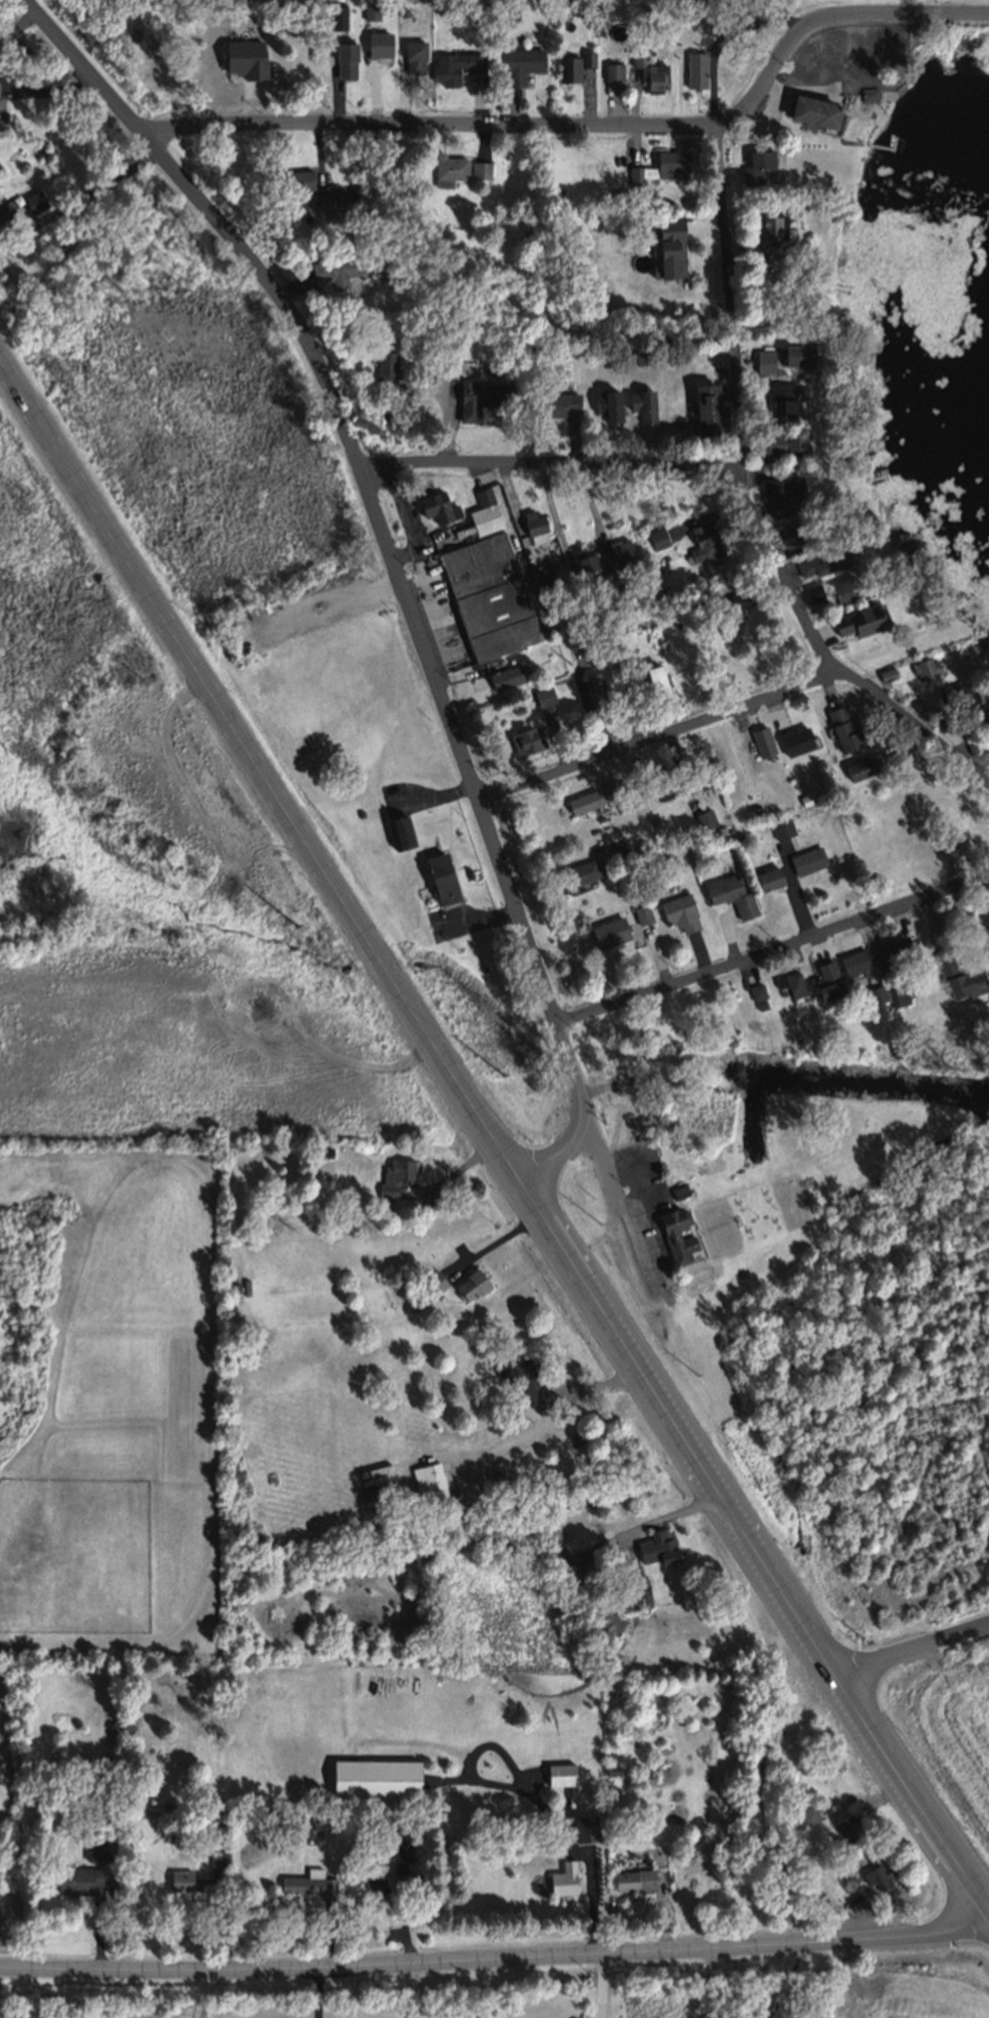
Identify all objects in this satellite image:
building: (514, 6)
building: (759, 7)
building: (371, 10)
building: (404, 10)
building: (737, 11)
building: (339, 18)
building: (378, 43)
building: (412, 56)
building: (586, 57)
building: (345, 58)
building: (247, 60)
building: (521, 63)
building: (454, 66)
building: (567, 67)
building: (693, 68)
building: (611, 70)
building: (648, 71)
building: (0, 82)
building: (868, 93)
building: (812, 110)
building: (2, 116)
road: (595, 125)
building: (755, 165)
building: (658, 166)
building: (447, 169)
building: (479, 169)
building: (296, 180)
road: (101, 184)
building: (355, 192)
building: (322, 194)
building: (34, 201)
building: (3, 209)
road: (725, 217)
building: (772, 226)
building: (758, 250)
building: (383, 252)
building: (666, 252)
building: (335, 270)
building: (798, 354)
building: (642, 357)
building: (763, 360)
building: (423, 373)
building: (385, 374)
building: (480, 397)
building: (609, 399)
building: (645, 400)
building: (780, 400)
building: (554, 402)
building: (706, 409)
building: (782, 443)
road: (550, 466)
building: (782, 492)
building: (435, 505)
building: (483, 512)
building: (532, 521)
building: (798, 532)
building: (657, 536)
building: (704, 541)
building: (620, 553)
building: (824, 559)
building: (583, 561)
building: (543, 574)
building: (662, 588)
building: (845, 588)
building: (812, 593)
building: (489, 596)
road: (408, 600)
building: (695, 600)
building: (733, 601)
road: (796, 605)
building: (592, 609)
building: (858, 620)
building: (674, 624)
building: (572, 637)
building: (605, 647)
building: (664, 647)
building: (924, 667)
building: (885, 673)
building: (505, 676)
building: (655, 680)
building: (591, 690)
building: (959, 692)
building: (625, 694)
building: (542, 695)
building: (935, 718)
building: (984, 719)
building: (843, 729)
road: (656, 737)
building: (525, 740)
building: (794, 740)
building: (761, 741)
building: (970, 745)
building: (830, 757)
building: (860, 767)
building: (828, 770)
building: (699, 774)
building: (663, 785)
building: (631, 793)
building: (805, 798)
building: (588, 799)
building: (756, 813)
building: (707, 825)
building: (778, 830)
building: (399, 831)
building: (615, 847)
building: (679, 860)
building: (806, 860)
building: (580, 871)
building: (467, 872)
building: (767, 878)
building: (440, 879)
building: (729, 894)
building: (679, 912)
building: (641, 914)
power tower: (299, 925)
building: (984, 926)
building: (609, 931)
road: (776, 946)
building: (897, 952)
building: (854, 961)
building: (959, 975)
building: (827, 980)
building: (790, 983)
building: (757, 991)
building: (875, 993)
building: (897, 993)
building: (802, 999)
building: (702, 1028)
building: (908, 1043)
building: (896, 1048)
power tower: (502, 1074)
road: (493, 1129)
building: (323, 1152)
building: (394, 1175)
building: (679, 1190)
building: (675, 1233)
road: (498, 1239)
building: (430, 1283)
building: (470, 1283)
building: (230, 1285)
building: (421, 1300)
power tower: (696, 1375)
building: (524, 1380)
road: (552, 1421)
building: (575, 1442)
building: (427, 1481)
building: (566, 1501)
road: (671, 1514)
building: (406, 1521)
building: (656, 1546)
building: (632, 1596)
road: (908, 1646)
building: (608, 1751)
building: (612, 1767)
building: (559, 1774)
building: (374, 1778)
building: (101, 1785)
building: (163, 1804)
building: (807, 1813)
building: (286, 1814)
building: (581, 1827)
building: (850, 1828)
building: (362, 1854)
building: (877, 1874)
building: (194, 1877)
building: (562, 1877)
building: (629, 1877)
building: (76, 1878)
building: (307, 1881)
building: (375, 1883)
building: (412, 1883)
building: (854, 1900)
building: (393, 1915)
road: (494, 1961)
road: (606, 1986)

